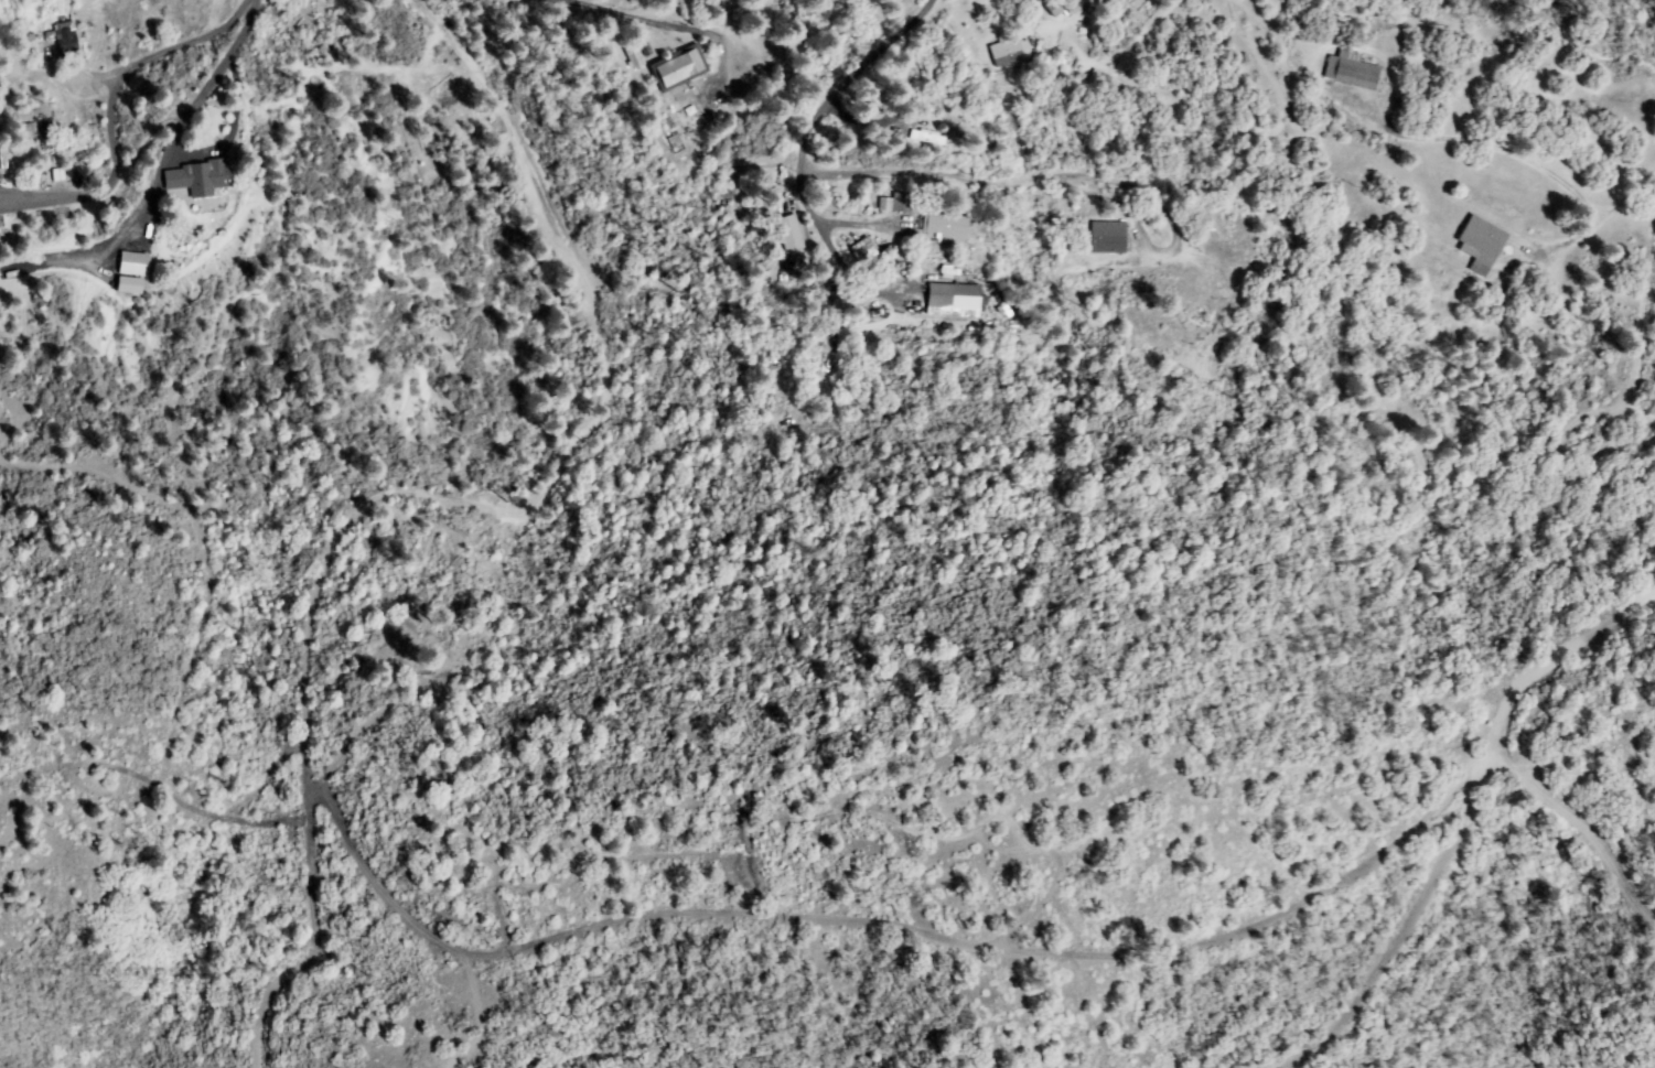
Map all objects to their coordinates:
road: (595, 3)
building: (1058, 7)
road: (916, 11)
road: (256, 30)
building: (66, 43)
building: (1010, 52)
building: (627, 56)
building: (635, 57)
building: (679, 68)
building: (1352, 72)
building: (1104, 82)
road: (830, 122)
building: (26, 132)
building: (928, 139)
road: (191, 143)
road: (1638, 177)
building: (198, 179)
building: (898, 204)
building: (947, 225)
road: (568, 230)
building: (792, 235)
building: (1108, 238)
building: (1481, 246)
building: (866, 250)
building: (135, 265)
building: (955, 301)
road: (308, 683)
road: (1514, 710)
road: (998, 949)

